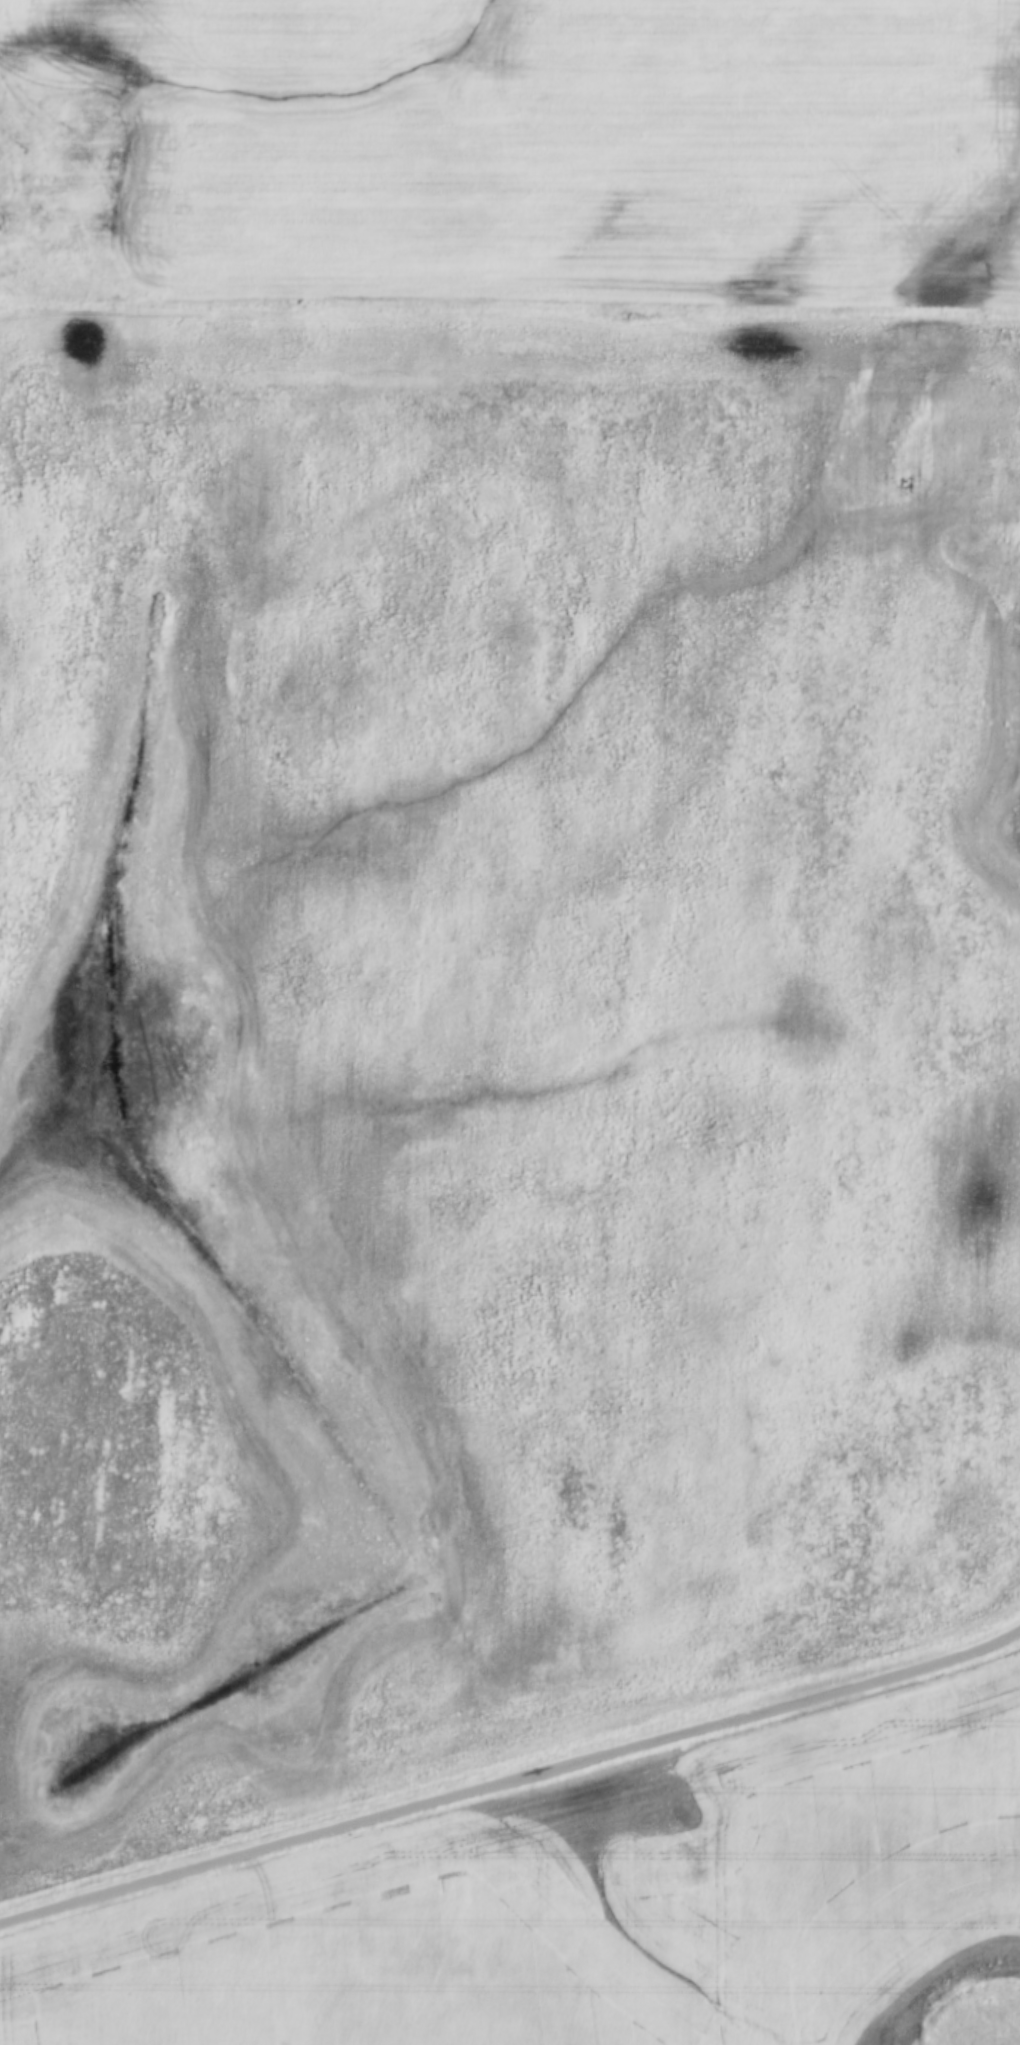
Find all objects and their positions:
road: (510, 1779)

